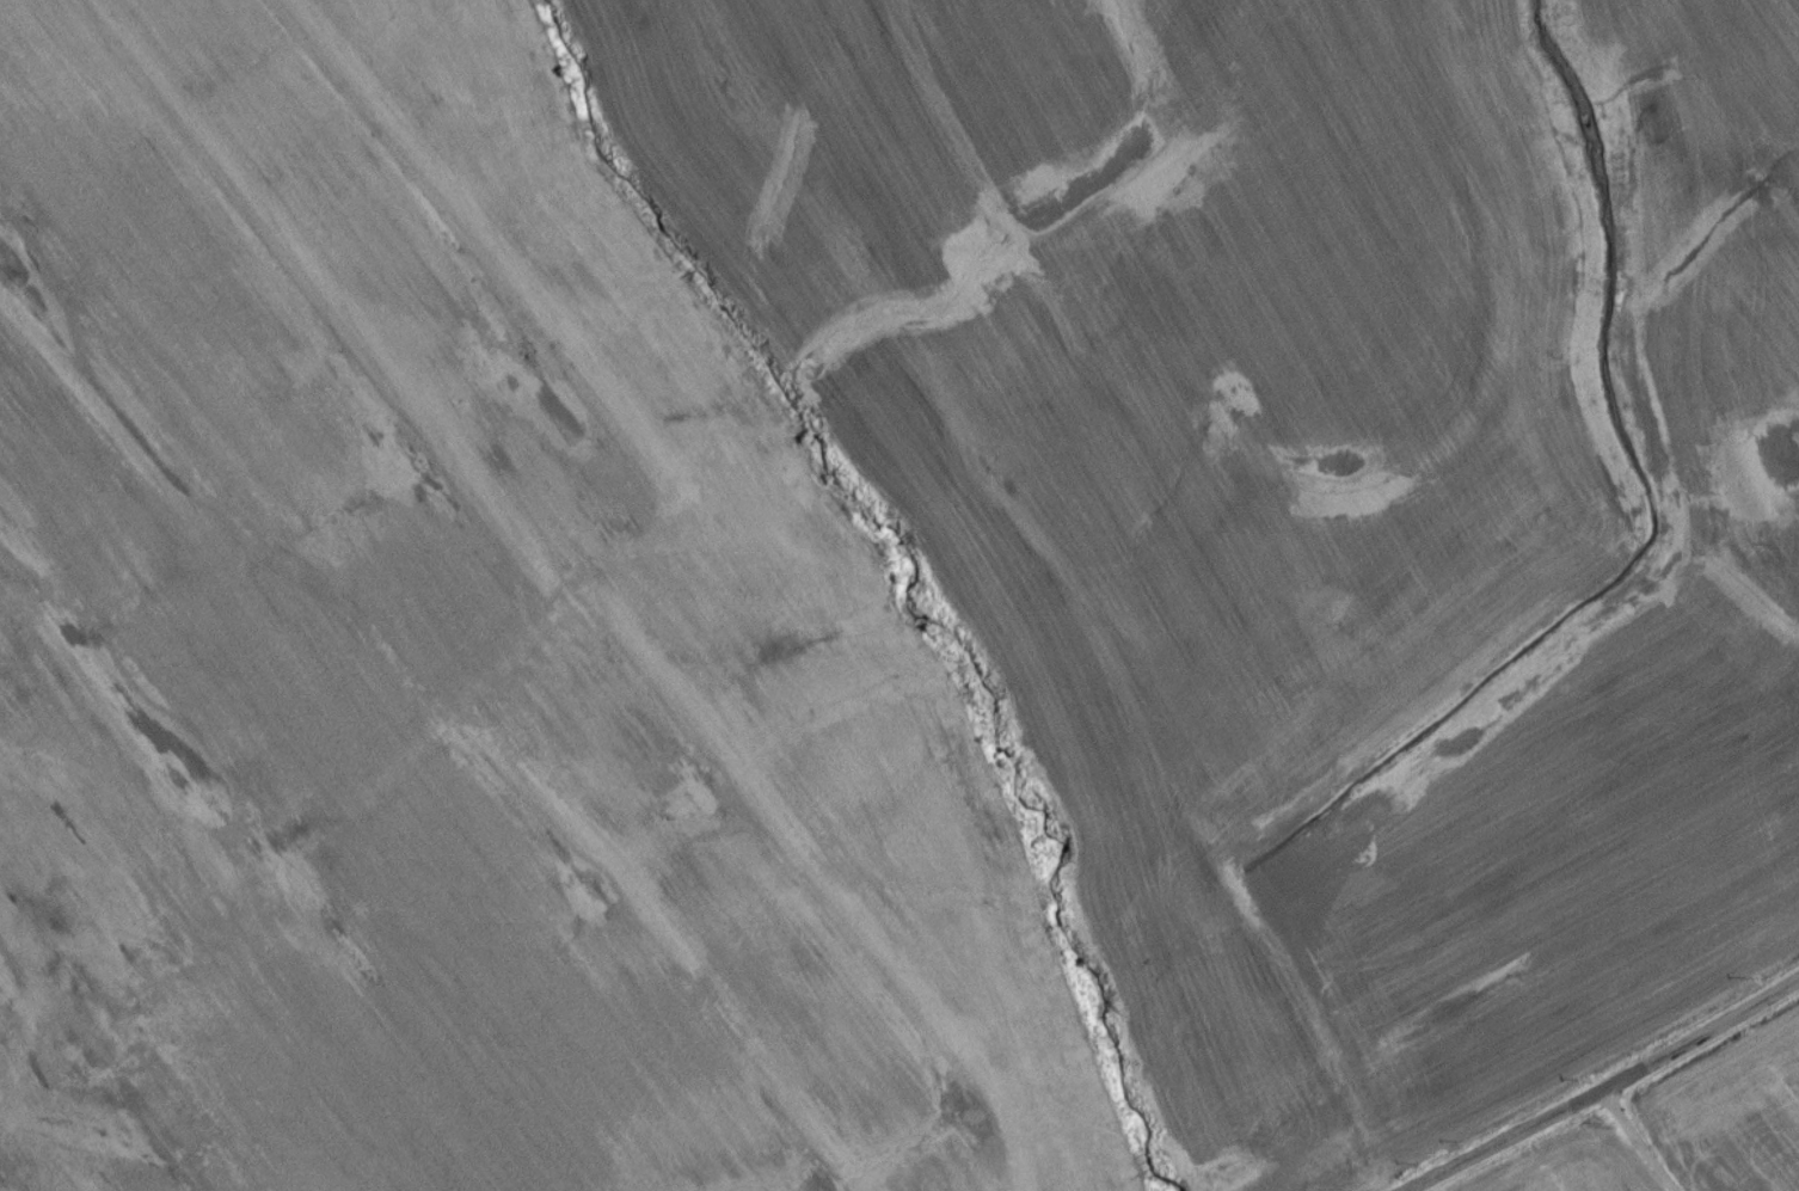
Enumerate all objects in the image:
road: (1613, 1087)
road: (1634, 1143)

